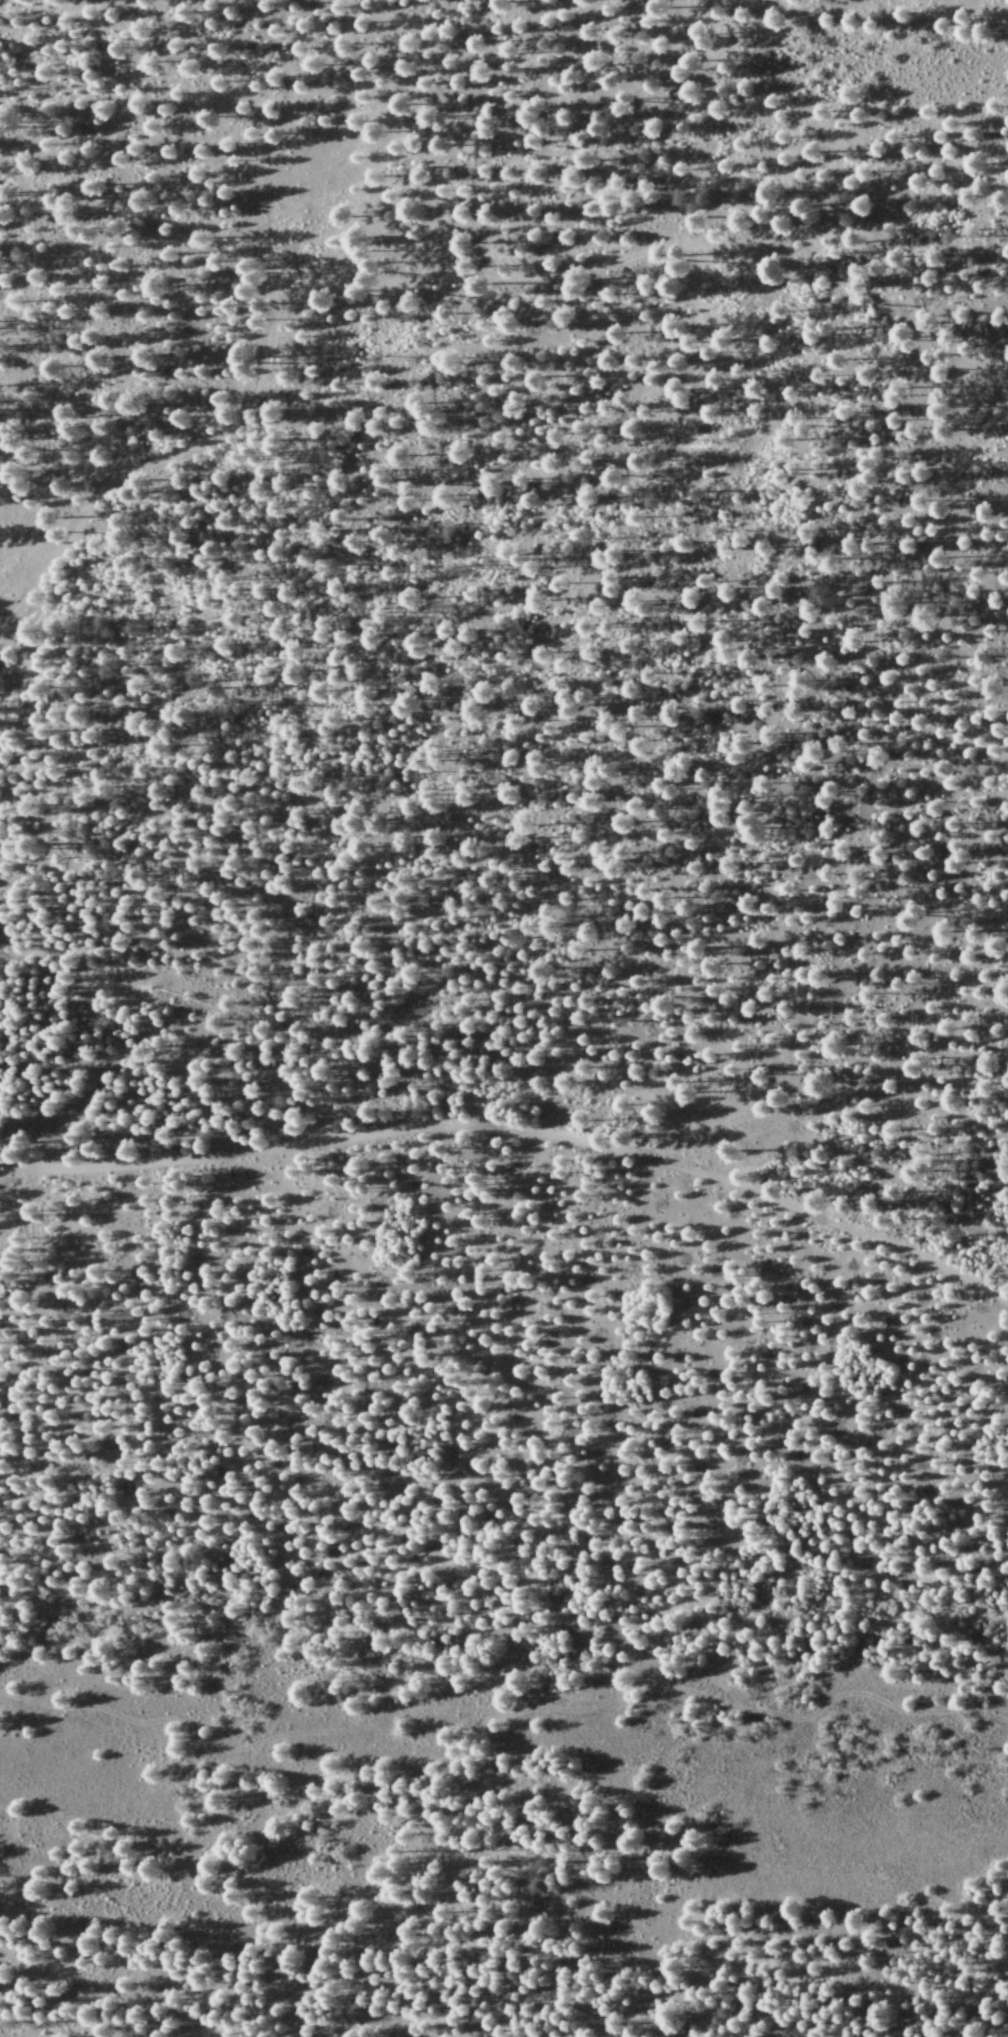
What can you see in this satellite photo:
road: (500, 1145)

